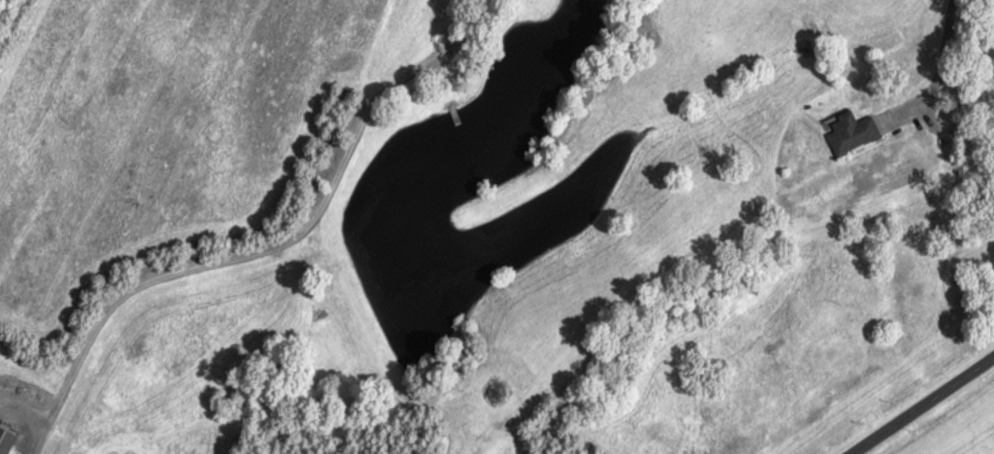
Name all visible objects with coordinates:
building: (851, 132)
road: (922, 402)
building: (5, 440)

